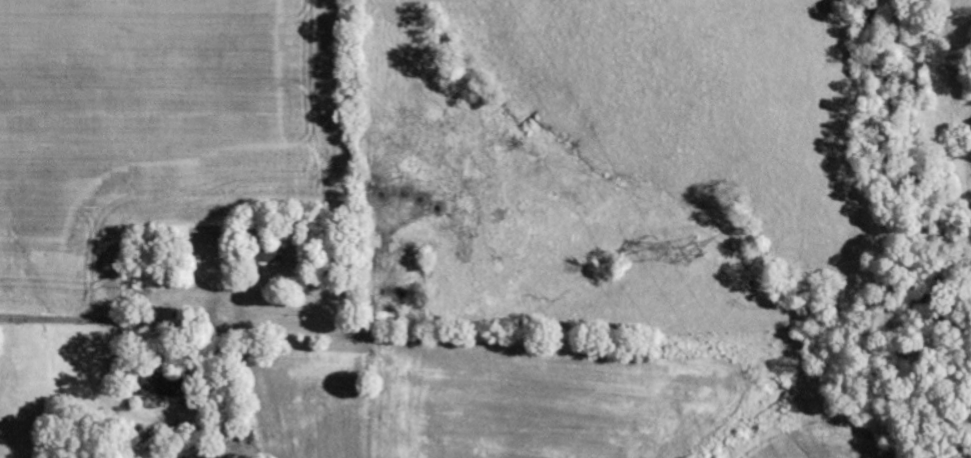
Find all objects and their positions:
power tower: (689, 243)
road: (125, 323)
road: (299, 327)
building: (163, 387)

